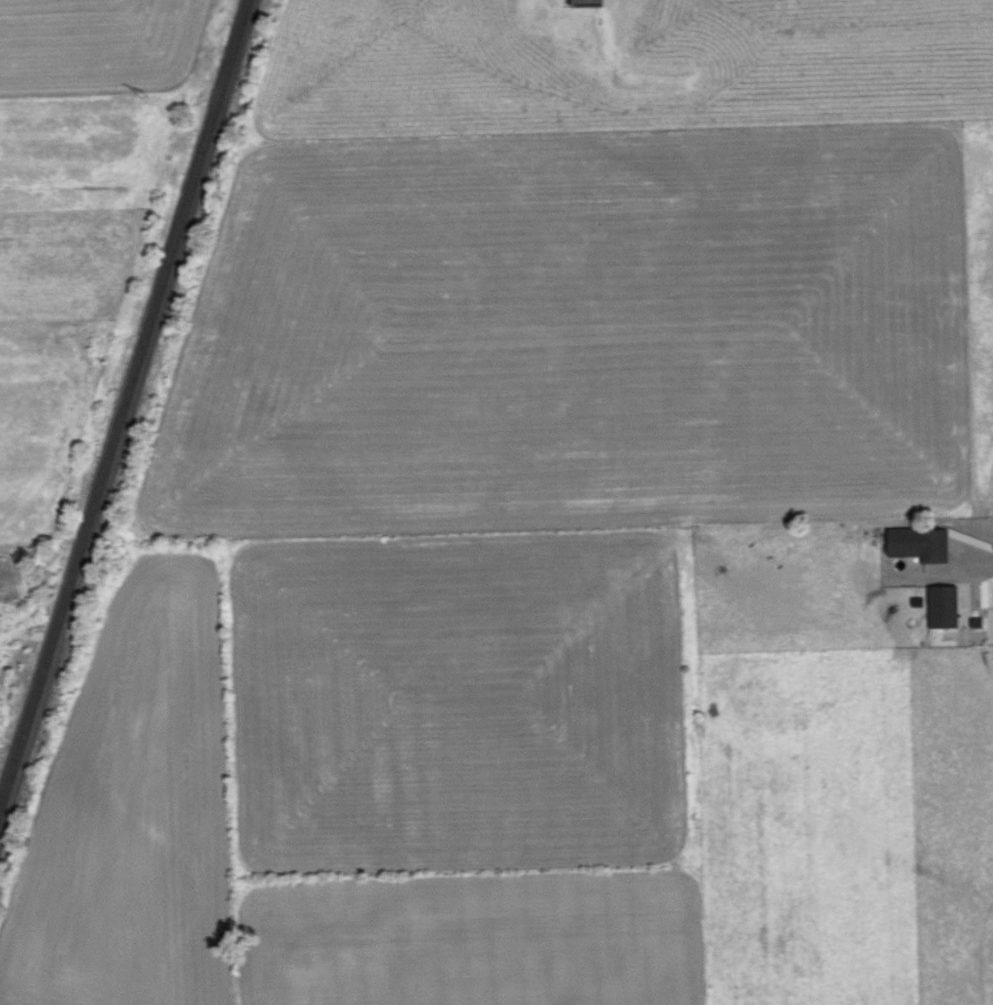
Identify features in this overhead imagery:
building: (589, 2)
power tower: (135, 92)
railway: (119, 394)
building: (923, 542)
road: (964, 570)
building: (946, 606)

